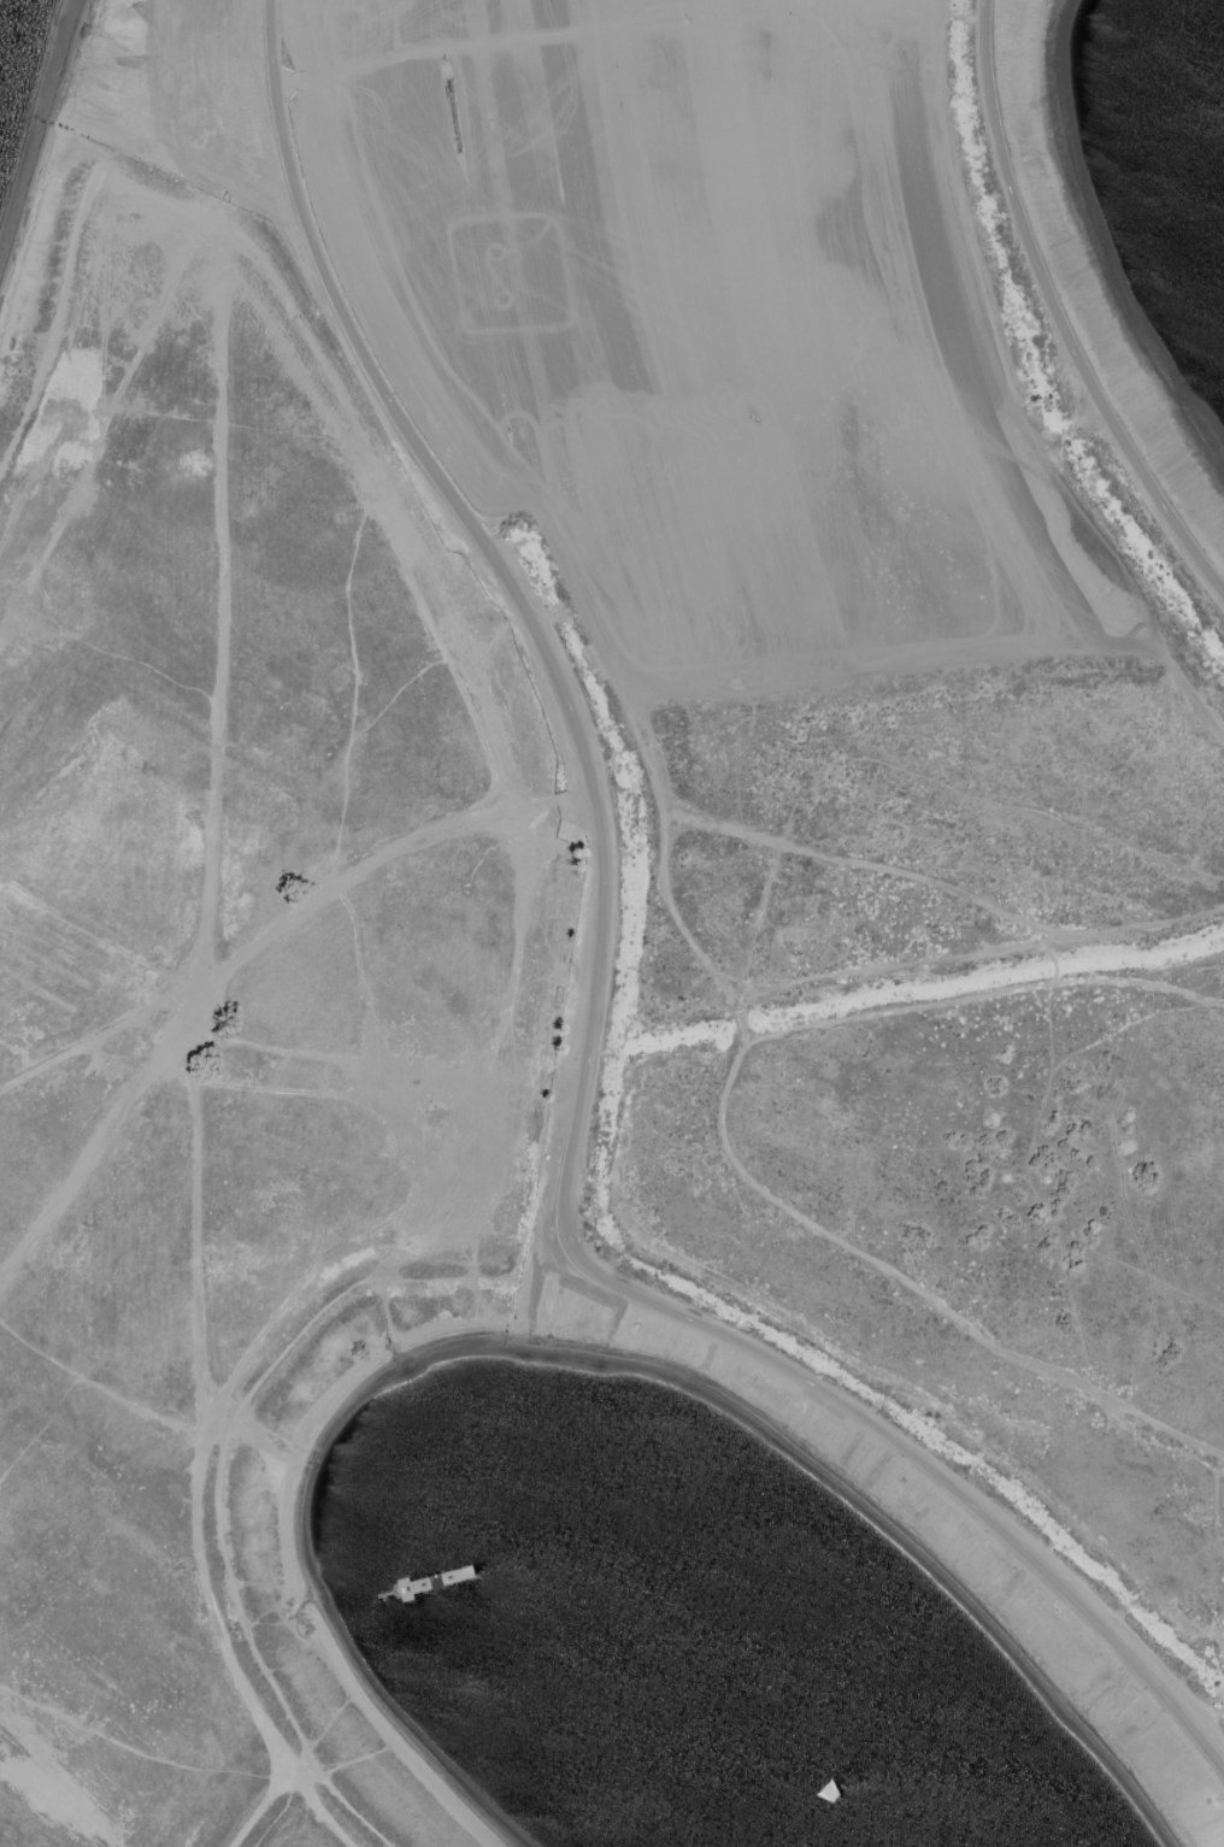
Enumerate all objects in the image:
road: (161, 130)
road: (1057, 313)
road: (93, 414)
road: (29, 480)
road: (898, 666)
road: (357, 682)
road: (212, 761)
road: (525, 835)
park: (589, 836)
road: (347, 882)
road: (1137, 918)
road: (818, 978)
road: (360, 993)
road: (982, 993)
road: (748, 994)
road: (594, 1011)
road: (1130, 1025)
road: (94, 1040)
road: (19, 1055)
road: (732, 1070)
road: (343, 1099)
road: (871, 1131)
road: (401, 1148)
road: (194, 1246)
road: (1069, 1306)
road: (100, 1389)
road: (1218, 1506)
road: (261, 1810)

